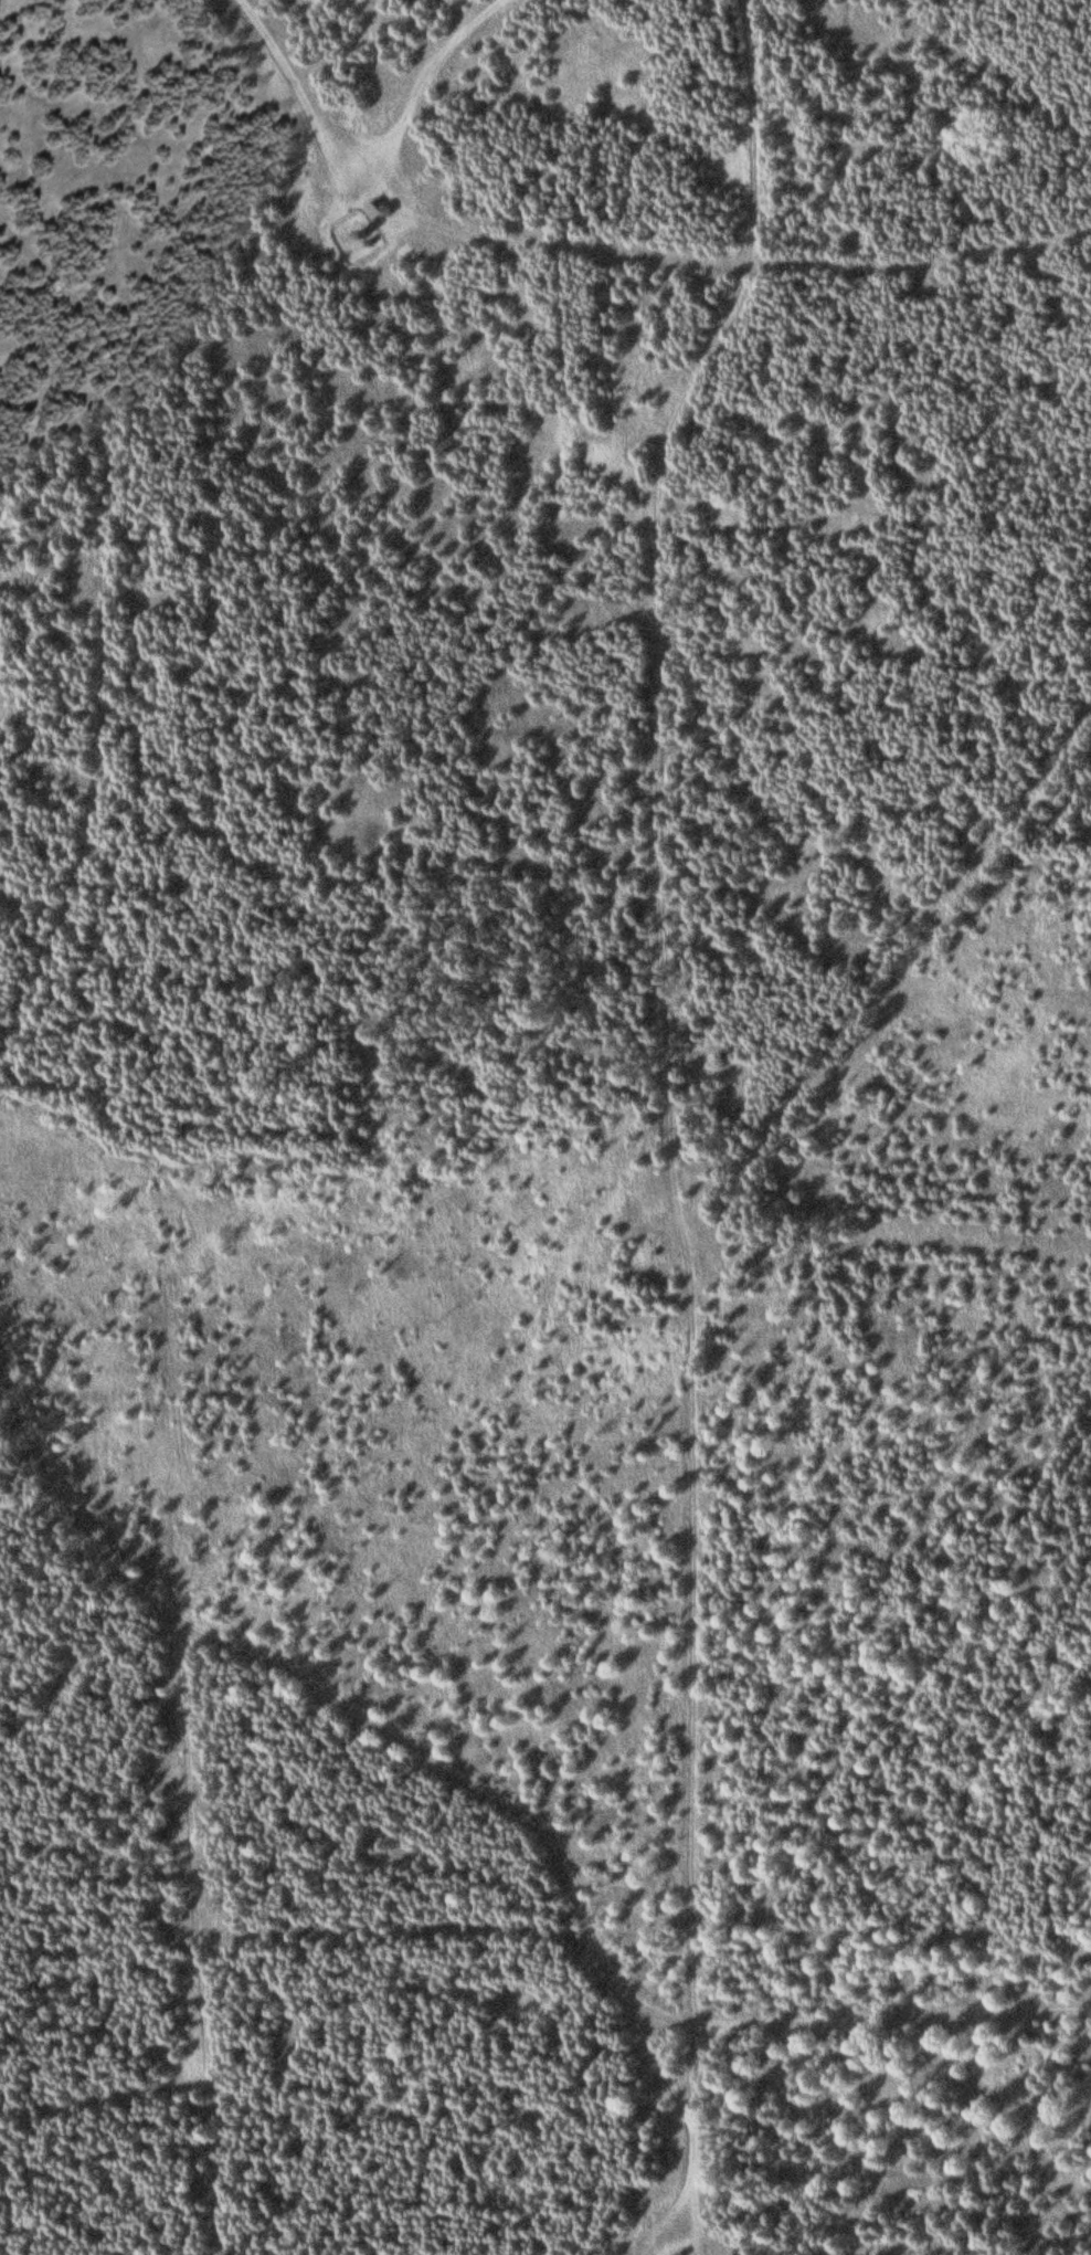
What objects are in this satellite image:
road: (358, 155)
building: (374, 211)
petroleum well: (364, 233)
road: (657, 561)
road: (113, 608)
road: (432, 1755)
road: (871, 2017)

